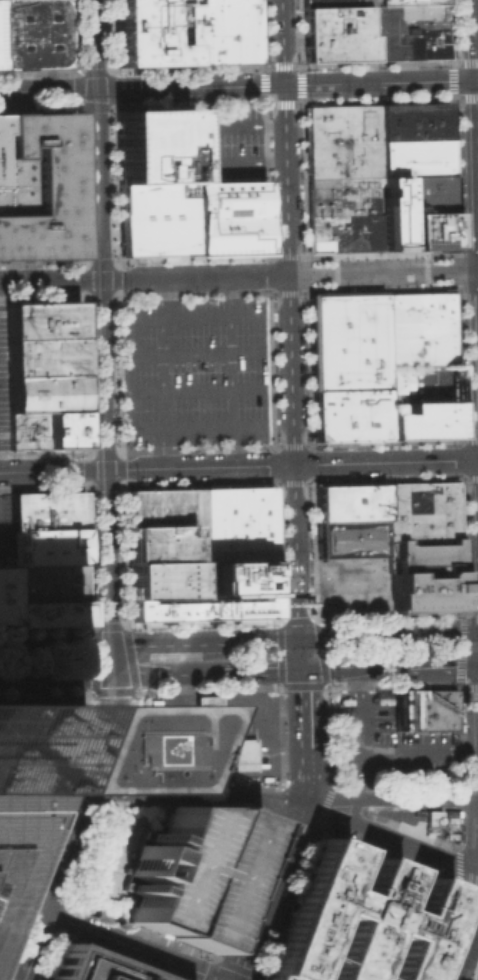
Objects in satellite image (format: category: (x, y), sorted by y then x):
building: (338, 2)
parking lot: (338, 2)
building: (408, 2)
parking lot: (408, 2)
building: (408, 31)
building: (225, 32)
building: (151, 33)
building: (337, 33)
parking lot: (337, 33)
building: (34, 34)
road: (475, 37)
road: (473, 40)
road: (96, 44)
traffic signals: (474, 80)
road: (476, 80)
road: (285, 84)
traffic signals: (283, 85)
traffic signals: (97, 89)
road: (48, 90)
road: (465, 96)
building: (412, 121)
road: (476, 124)
building: (342, 139)
road: (197, 144)
parking lot: (227, 146)
building: (155, 147)
road: (476, 153)
building: (413, 157)
building: (0, 158)
road: (474, 175)
road: (99, 184)
building: (36, 186)
building: (427, 194)
building: (391, 212)
building: (344, 213)
building: (229, 219)
building: (156, 220)
building: (428, 231)
road: (468, 252)
road: (100, 265)
road: (477, 270)
road: (269, 275)
road: (290, 275)
road: (84, 279)
road: (116, 279)
traffic signals: (103, 280)
road: (51, 281)
road: (100, 294)
road: (470, 294)
road: (477, 300)
railway: (96, 312)
road: (193, 317)
road: (289, 319)
building: (417, 328)
building: (41, 337)
building: (346, 340)
road: (193, 353)
parking lot: (194, 371)
road: (230, 371)
road: (159, 373)
road: (87, 374)
road: (104, 374)
parking lot: (2, 383)
road: (195, 390)
building: (43, 392)
building: (348, 414)
building: (421, 420)
road: (196, 426)
building: (62, 429)
building: (24, 430)
road: (470, 440)
railway: (82, 441)
road: (104, 454)
road: (462, 458)
road: (385, 461)
road: (200, 466)
road: (119, 468)
road: (90, 469)
traffic signals: (106, 469)
road: (53, 470)
road: (470, 477)
road: (306, 480)
road: (105, 484)
building: (350, 501)
building: (420, 508)
building: (46, 509)
building: (235, 522)
building: (162, 523)
parking lot: (5, 529)
building: (350, 538)
building: (47, 545)
building: (421, 554)
road: (108, 556)
building: (161, 579)
building: (47, 582)
building: (422, 591)
building: (216, 593)
building: (5, 595)
street lamp: (465, 606)
building: (48, 611)
road: (93, 632)
road: (434, 635)
road: (250, 639)
traffic signals: (298, 639)
road: (61, 644)
traffic signals: (112, 644)
road: (5, 646)
road: (298, 654)
road: (113, 659)
road: (388, 665)
traffic signals: (299, 669)
road: (258, 670)
road: (166, 673)
road: (82, 675)
traffic signals: (115, 675)
road: (25, 676)
building: (402, 707)
building: (432, 708)
road: (361, 710)
road: (237, 714)
building: (207, 715)
gas station: (207, 715)
road: (301, 725)
road: (106, 735)
parking lot: (166, 736)
railway: (98, 738)
parking lot: (388, 745)
building: (32, 750)
building: (226, 752)
road: (390, 754)
fountain: (133, 765)
road: (191, 773)
road: (328, 790)
road: (69, 792)
traffic signals: (86, 793)
road: (192, 794)
road: (301, 795)
road: (387, 800)
road: (352, 813)
building: (435, 819)
parking lot: (423, 820)
road: (388, 840)
building: (14, 846)
road: (65, 852)
road: (457, 853)
building: (188, 871)
parking lot: (188, 871)
road: (468, 890)
road: (264, 893)
road: (45, 895)
road: (18, 902)
road: (29, 906)
railway: (34, 913)
traffic signals: (47, 913)
building: (357, 920)
road: (33, 927)
road: (6, 935)
railway: (16, 939)
road: (464, 943)
road: (36, 946)
road: (134, 946)
road: (228, 964)
building: (88, 967)

